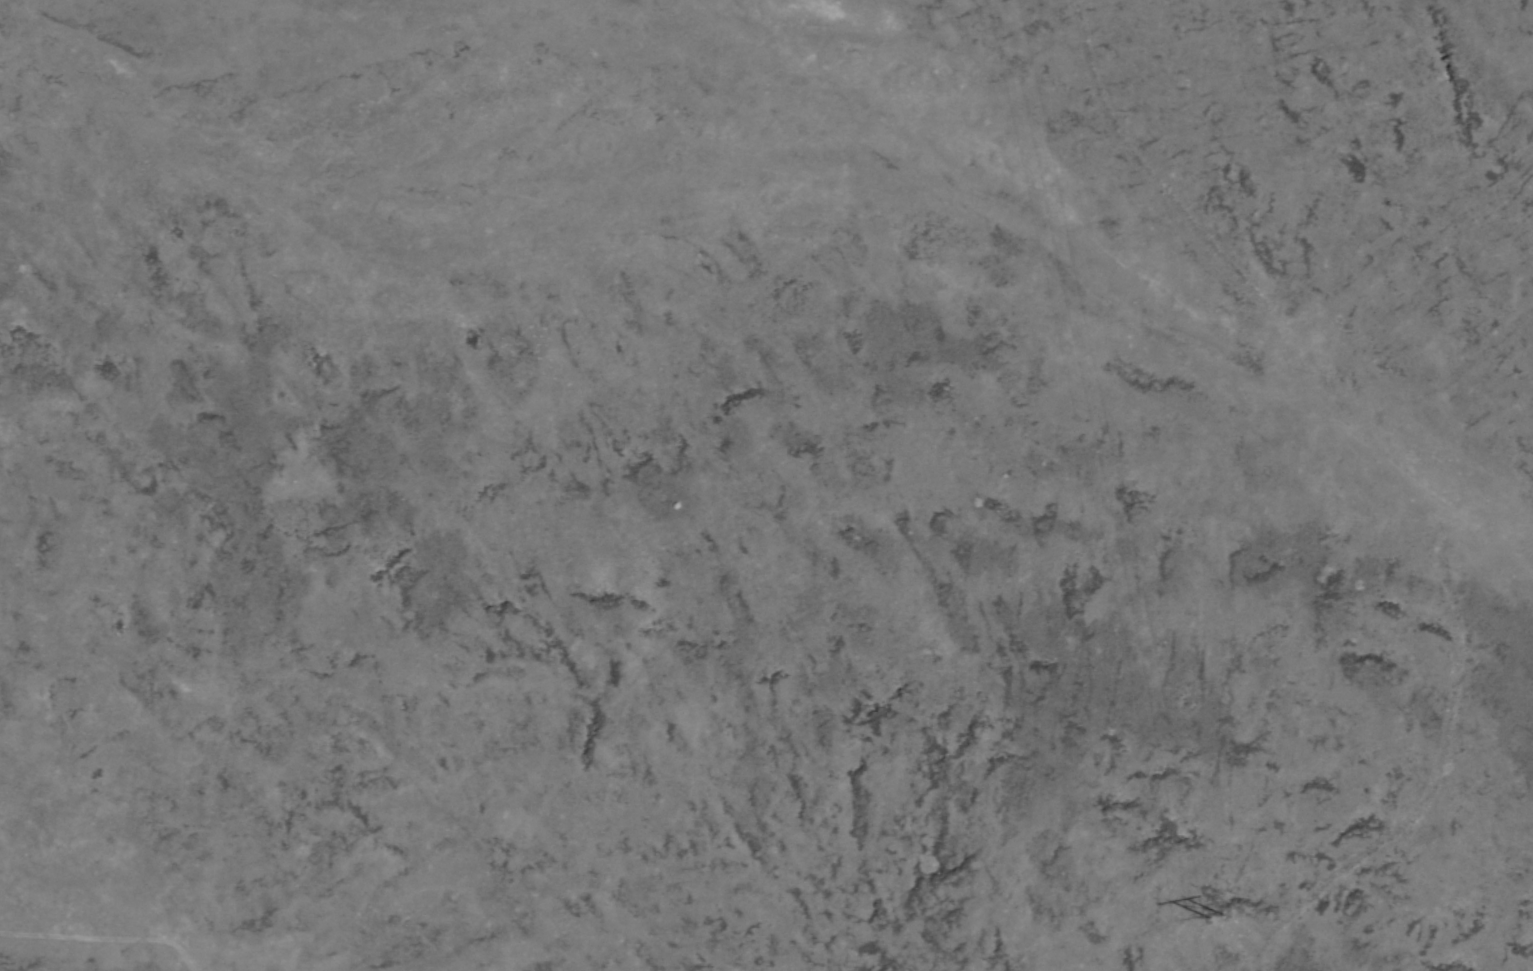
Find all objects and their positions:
power tower: (1217, 919)

